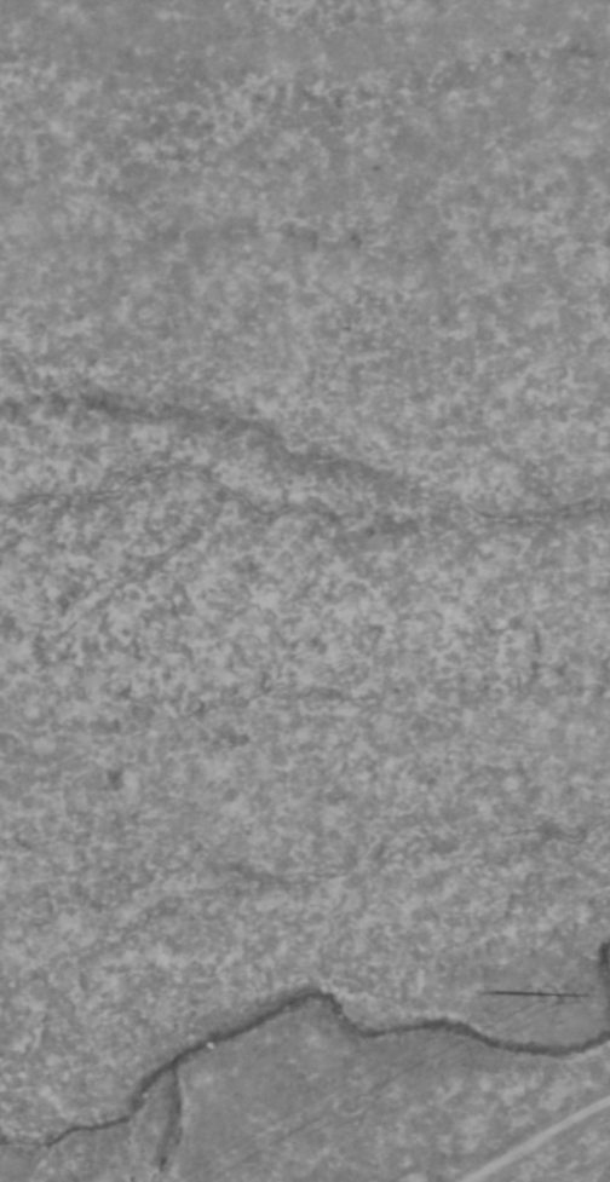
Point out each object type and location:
power tower: (476, 992)

